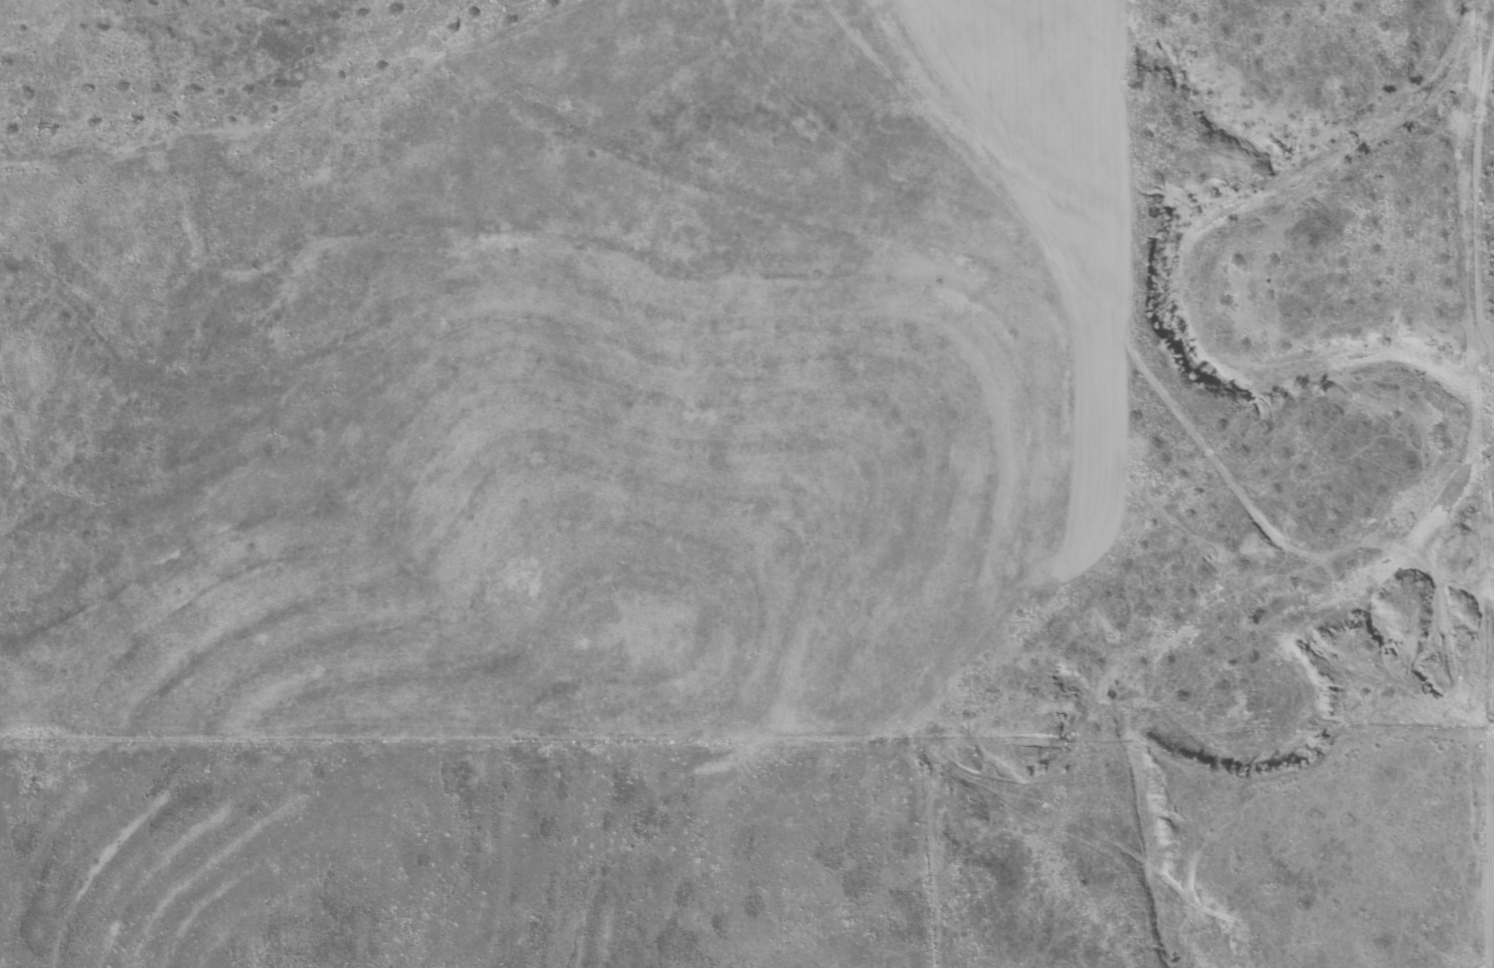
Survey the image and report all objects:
road: (1179, 458)

